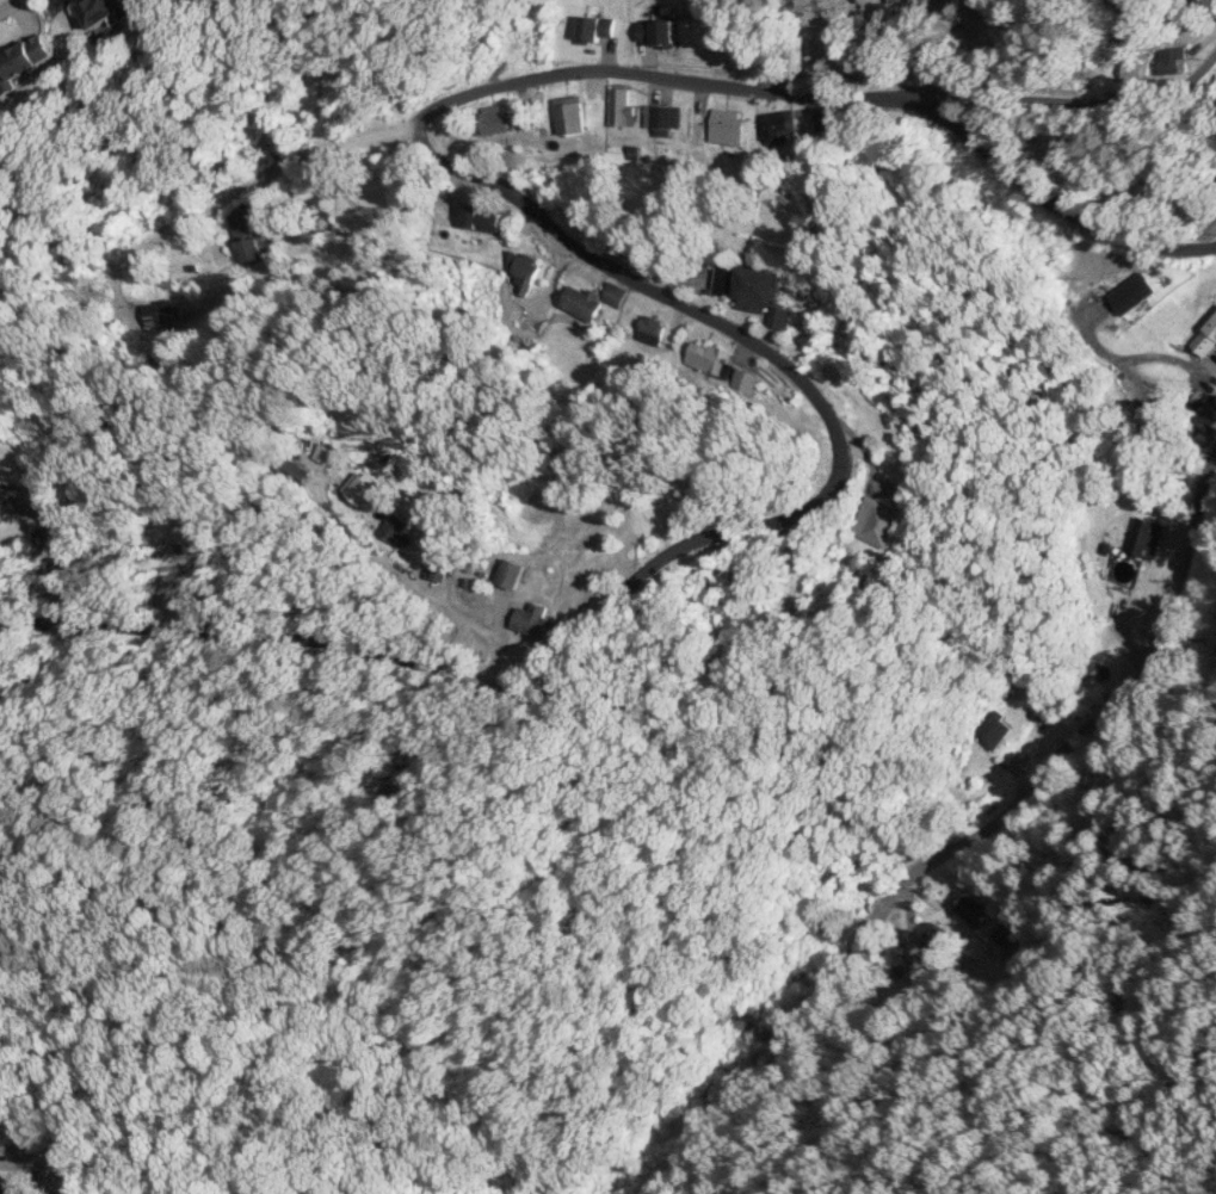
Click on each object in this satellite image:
building: (897, 0)
road: (6, 2)
building: (104, 10)
building: (24, 61)
building: (619, 105)
building: (658, 115)
building: (776, 125)
building: (759, 292)
building: (580, 302)
road: (673, 303)
building: (159, 313)
building: (649, 328)
building: (1205, 338)
building: (717, 364)
building: (360, 490)
building: (875, 520)
building: (394, 528)
building: (187, 537)
building: (1149, 538)
road: (425, 550)
building: (532, 619)
road: (1189, 626)
road: (981, 806)
building: (968, 907)
building: (1002, 935)
building: (936, 940)
road: (272, 954)
building: (5, 1189)

